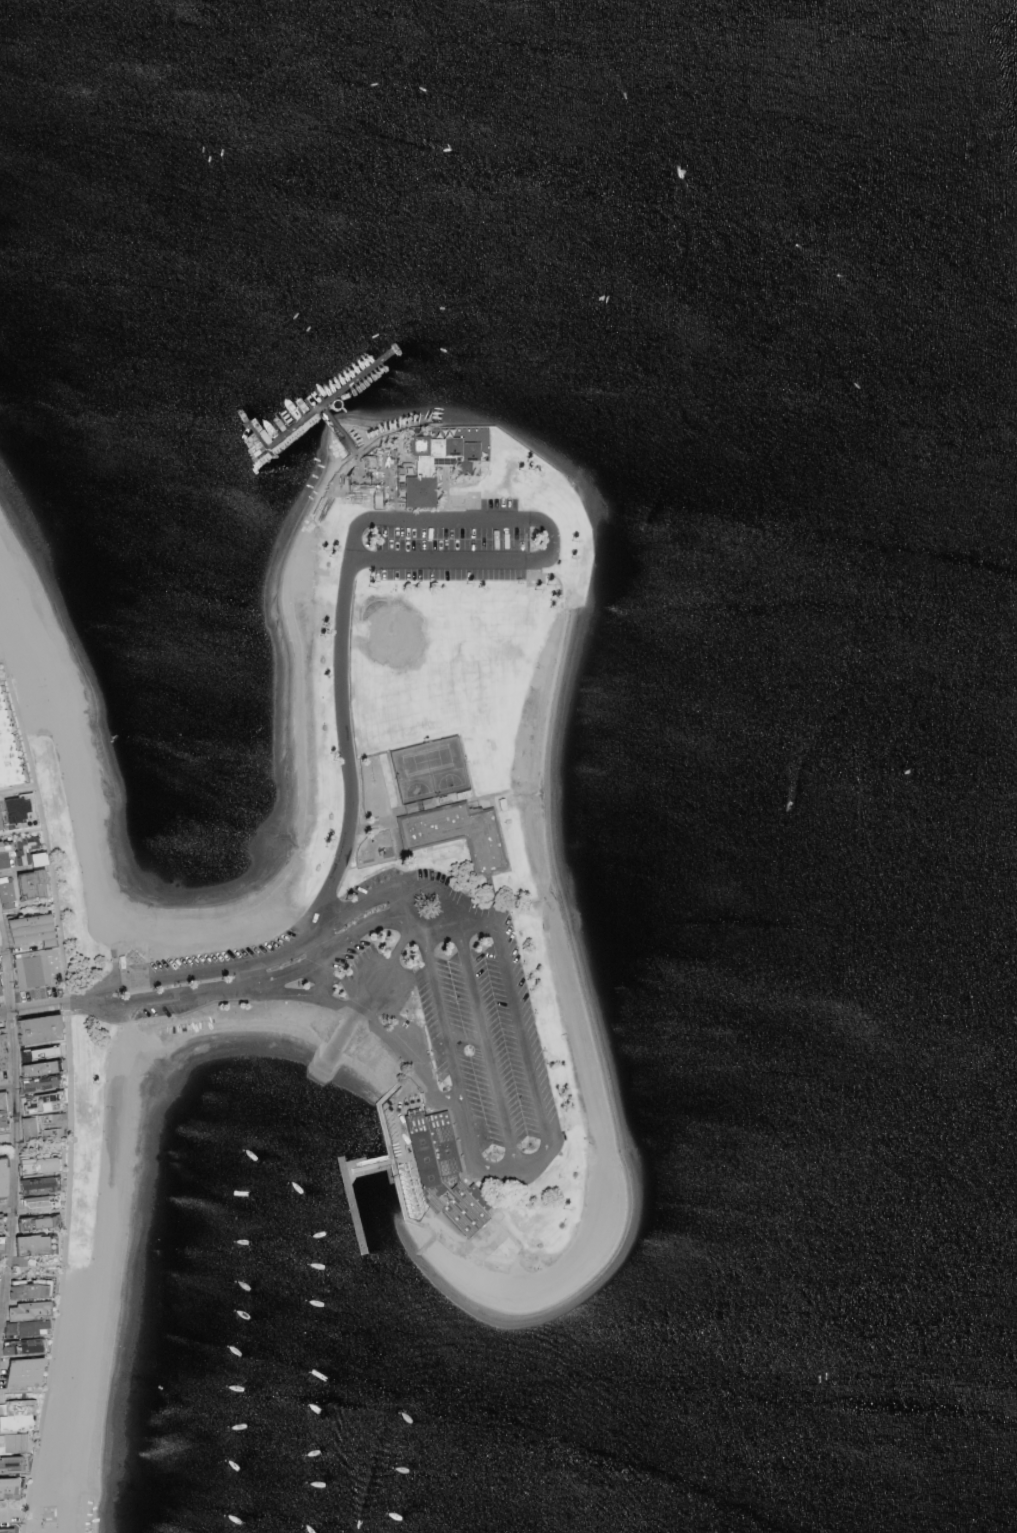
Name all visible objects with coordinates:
pier: (332, 398)
pier: (288, 432)
building: (421, 469)
parking lot: (466, 543)
road: (359, 563)
park: (435, 653)
park: (443, 657)
road: (4, 679)
building: (7, 753)
park: (426, 758)
park: (449, 780)
park: (415, 788)
road: (18, 791)
building: (418, 805)
building: (20, 808)
building: (1, 821)
road: (44, 825)
road: (22, 832)
building: (461, 834)
building: (23, 852)
road: (16, 870)
building: (36, 883)
building: (6, 892)
road: (401, 892)
road: (403, 906)
road: (28, 908)
building: (37, 929)
road: (442, 933)
road: (3, 949)
road: (385, 967)
building: (33, 968)
road: (252, 976)
road: (439, 977)
building: (1, 987)
road: (299, 998)
road: (83, 1000)
road: (33, 1007)
parking lot: (401, 1007)
building: (42, 1028)
road: (527, 1033)
building: (4, 1038)
parking lot: (475, 1045)
building: (41, 1068)
park: (565, 1078)
road: (7, 1080)
building: (43, 1083)
building: (44, 1098)
building: (4, 1099)
building: (4, 1114)
building: (44, 1125)
road: (14, 1131)
road: (69, 1133)
road: (35, 1144)
building: (49, 1164)
pier: (343, 1170)
building: (438, 1175)
building: (5, 1177)
building: (39, 1185)
pier: (349, 1191)
building: (41, 1203)
road: (6, 1209)
building: (37, 1222)
building: (35, 1244)
road: (32, 1267)
building: (34, 1289)
building: (29, 1310)
road: (0, 1332)
building: (29, 1372)
road: (24, 1391)
road: (46, 1399)
building: (19, 1414)
building: (14, 1442)
building: (13, 1464)
building: (10, 1487)
road: (13, 1519)
building: (7, 1530)

